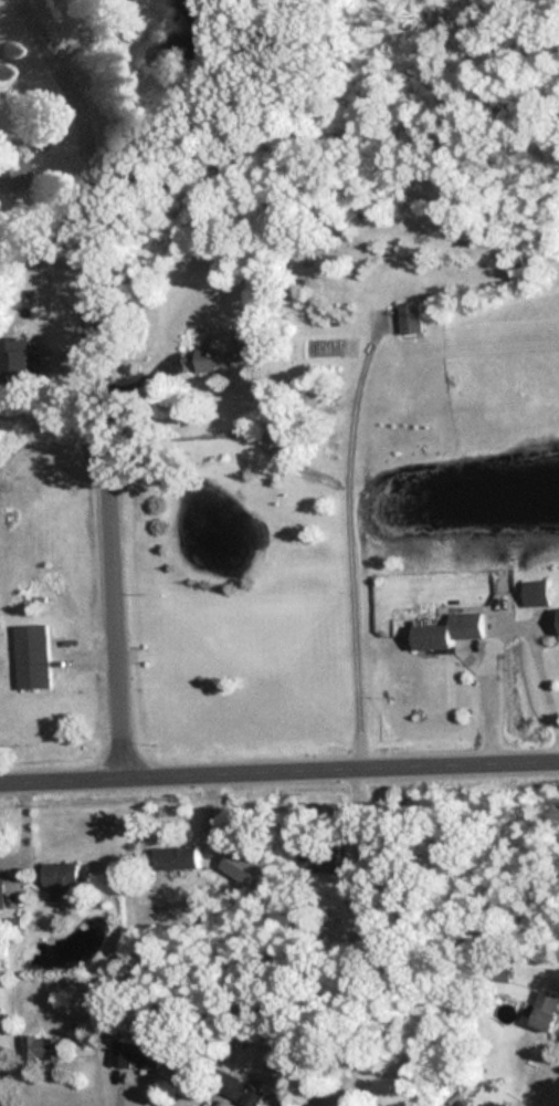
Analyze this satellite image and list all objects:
building: (408, 317)
building: (219, 354)
building: (14, 362)
road: (106, 376)
road: (351, 540)
building: (535, 593)
building: (558, 616)
road: (509, 624)
building: (446, 630)
building: (30, 657)
road: (278, 765)
building: (176, 857)
building: (319, 859)
building: (59, 879)
building: (0, 883)
building: (349, 888)
building: (544, 1011)
building: (40, 1048)
building: (134, 1055)
building: (236, 1091)

